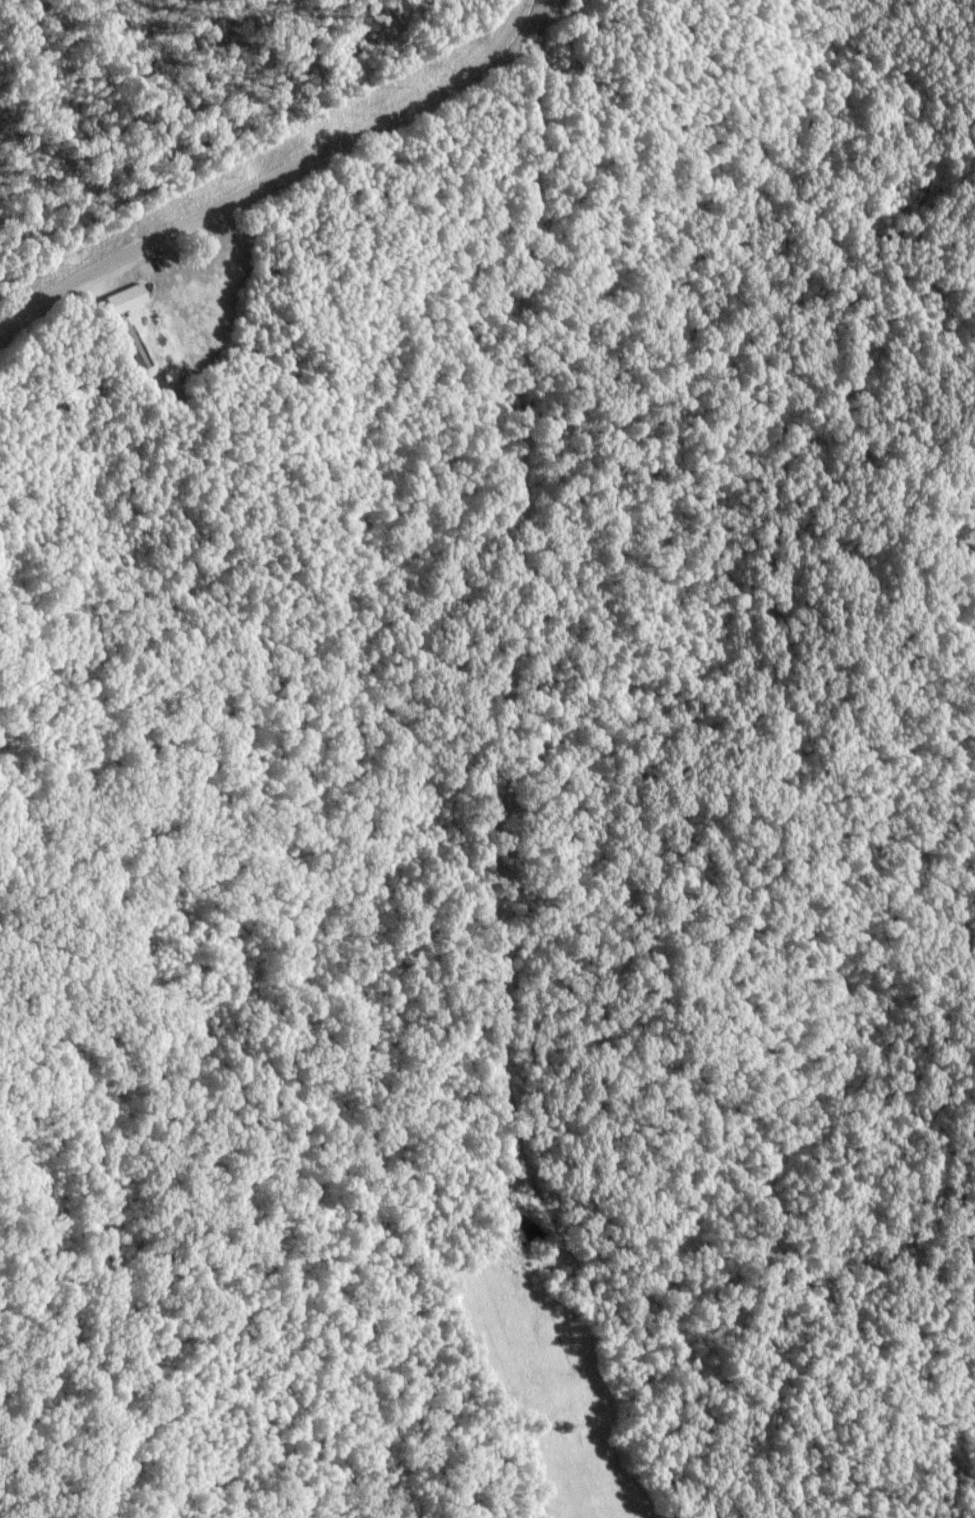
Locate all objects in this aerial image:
road: (274, 174)
building: (130, 300)
building: (136, 346)

